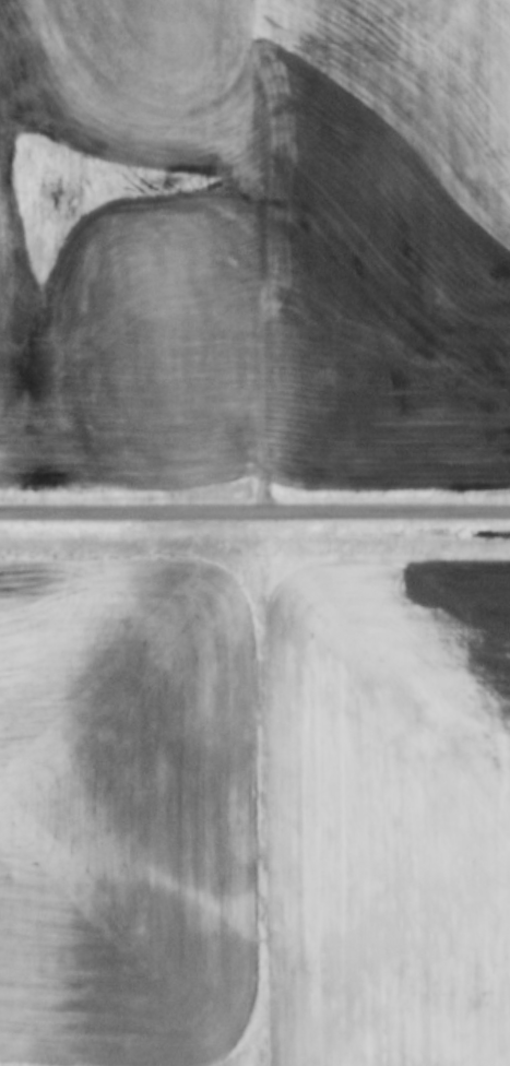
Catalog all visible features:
road: (271, 258)
road: (254, 513)

